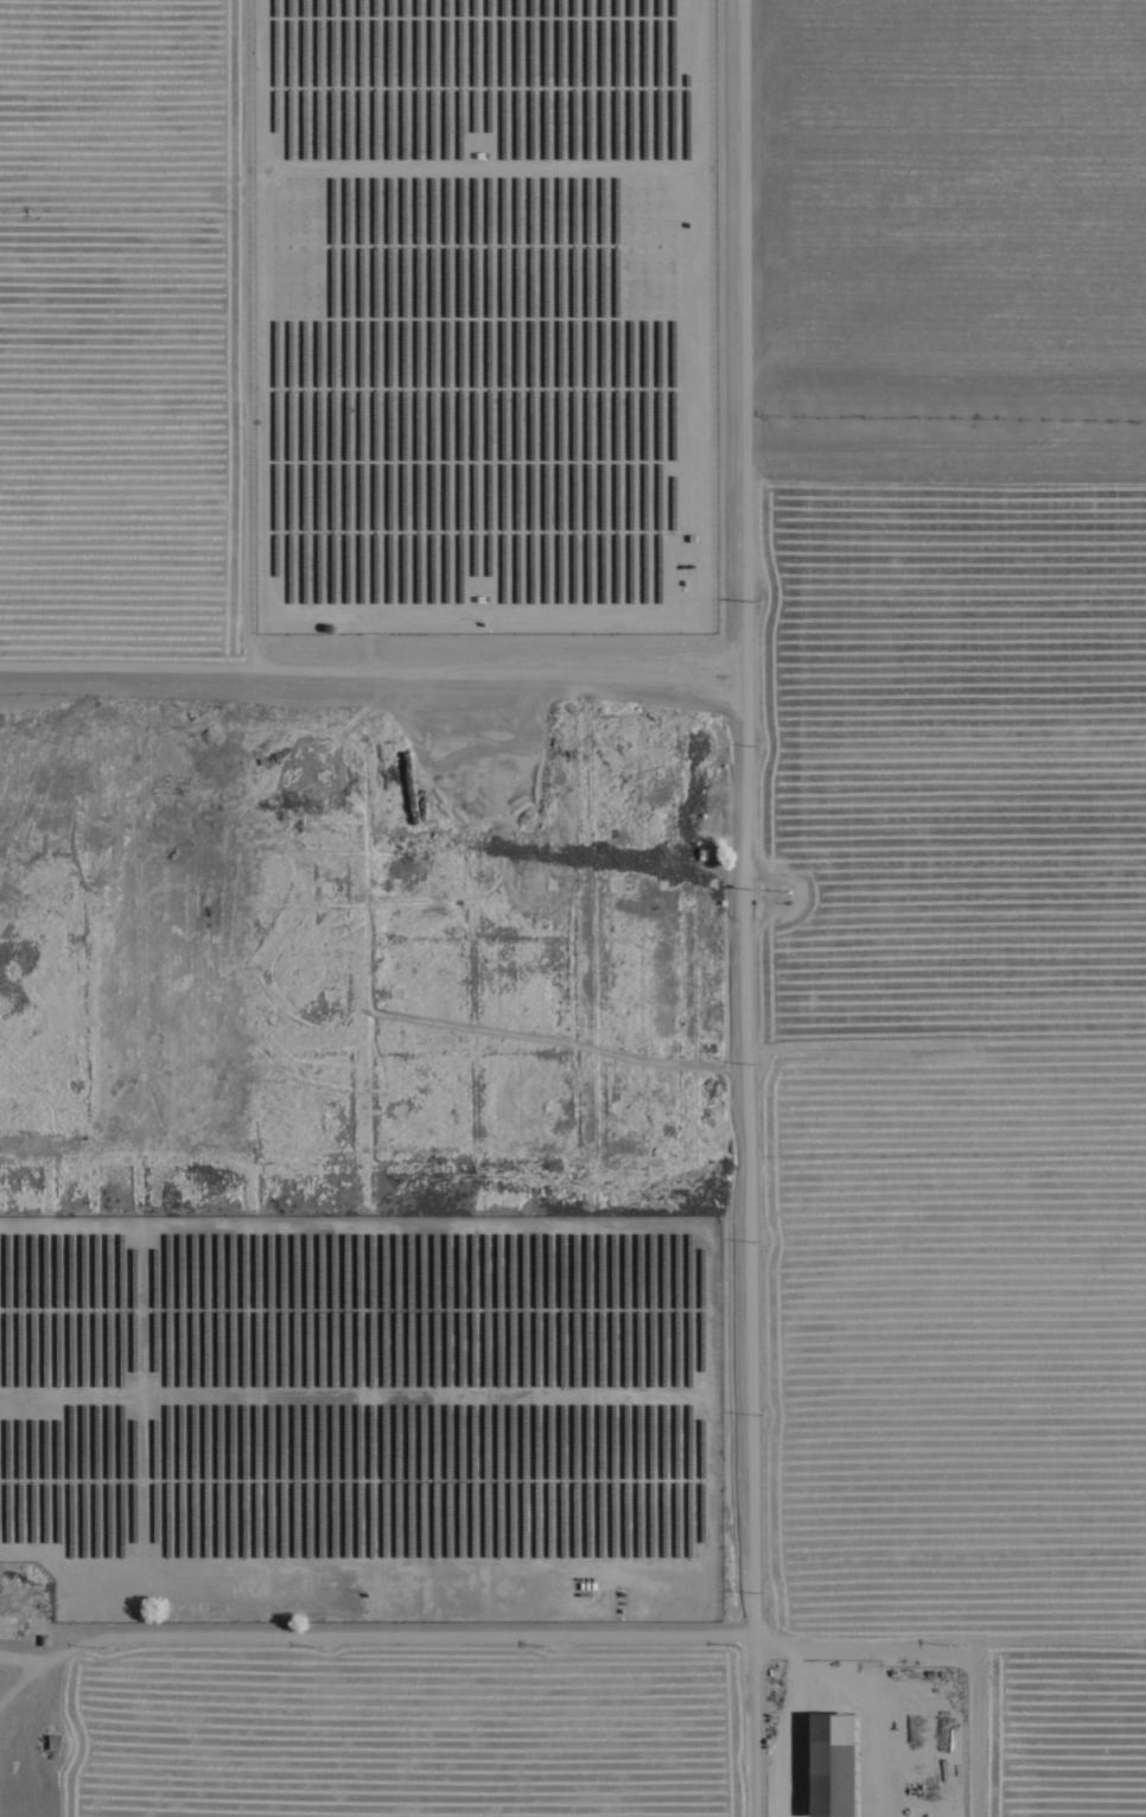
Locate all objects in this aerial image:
solar farm: (483, 316)
crop: (701, 627)
solar farm: (363, 1416)
road: (571, 1629)
crop: (397, 1723)
road: (755, 1723)
building: (834, 1761)

